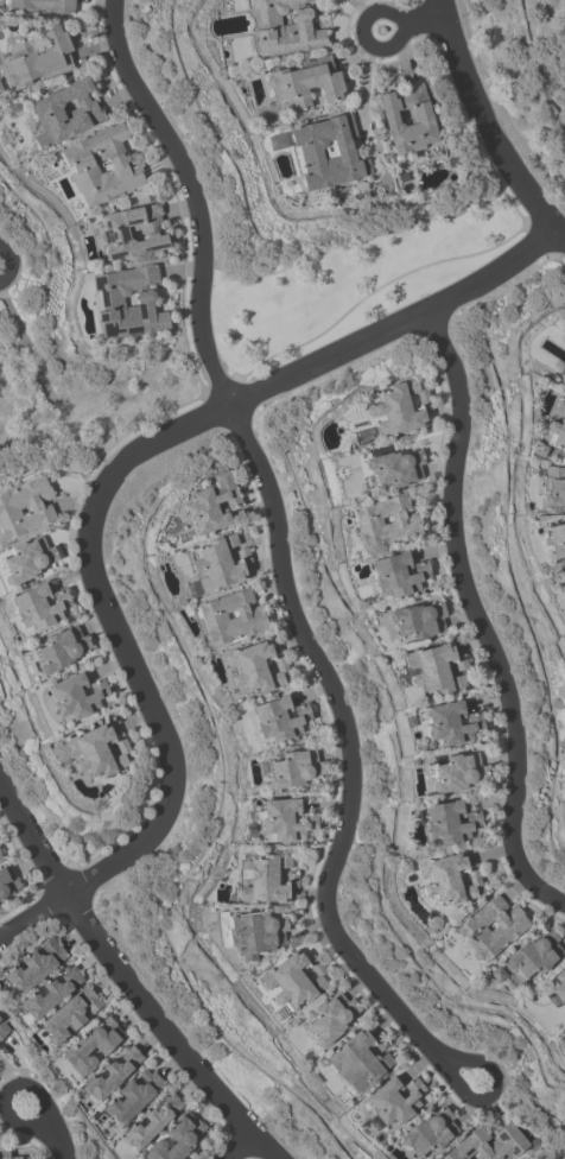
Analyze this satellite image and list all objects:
building: (43, 5)
road: (423, 21)
building: (285, 27)
road: (361, 31)
building: (37, 58)
building: (304, 82)
building: (64, 112)
building: (408, 121)
road: (489, 129)
building: (277, 141)
building: (325, 152)
building: (101, 165)
building: (132, 232)
building: (110, 303)
building: (563, 328)
road: (344, 354)
building: (563, 378)
building: (563, 381)
building: (400, 407)
building: (558, 426)
building: (538, 449)
building: (395, 467)
building: (553, 486)
building: (211, 502)
building: (25, 507)
building: (386, 521)
building: (556, 539)
road: (281, 540)
building: (26, 559)
building: (218, 563)
building: (398, 574)
building: (564, 578)
building: (38, 606)
building: (230, 616)
road: (477, 616)
building: (417, 620)
building: (59, 648)
building: (255, 666)
building: (436, 667)
building: (75, 695)
road: (154, 698)
building: (278, 717)
building: (449, 722)
building: (95, 750)
building: (293, 768)
building: (456, 771)
building: (285, 819)
building: (449, 821)
building: (0, 857)
building: (405, 866)
building: (265, 879)
building: (447, 879)
building: (7, 880)
road: (32, 913)
building: (433, 921)
building: (490, 927)
building: (258, 930)
building: (534, 954)
building: (34, 964)
building: (496, 973)
road: (131, 975)
building: (294, 978)
building: (559, 984)
building: (51, 992)
building: (69, 1014)
building: (330, 1016)
building: (2, 1028)
building: (561, 1040)
building: (91, 1045)
building: (358, 1059)
building: (112, 1072)
road: (8, 1089)
road: (489, 1090)
building: (132, 1096)
building: (393, 1100)
building: (151, 1120)
building: (428, 1132)
building: (174, 1138)
building: (508, 1139)
road: (58, 1140)
road: (239, 1146)
building: (4, 1149)

